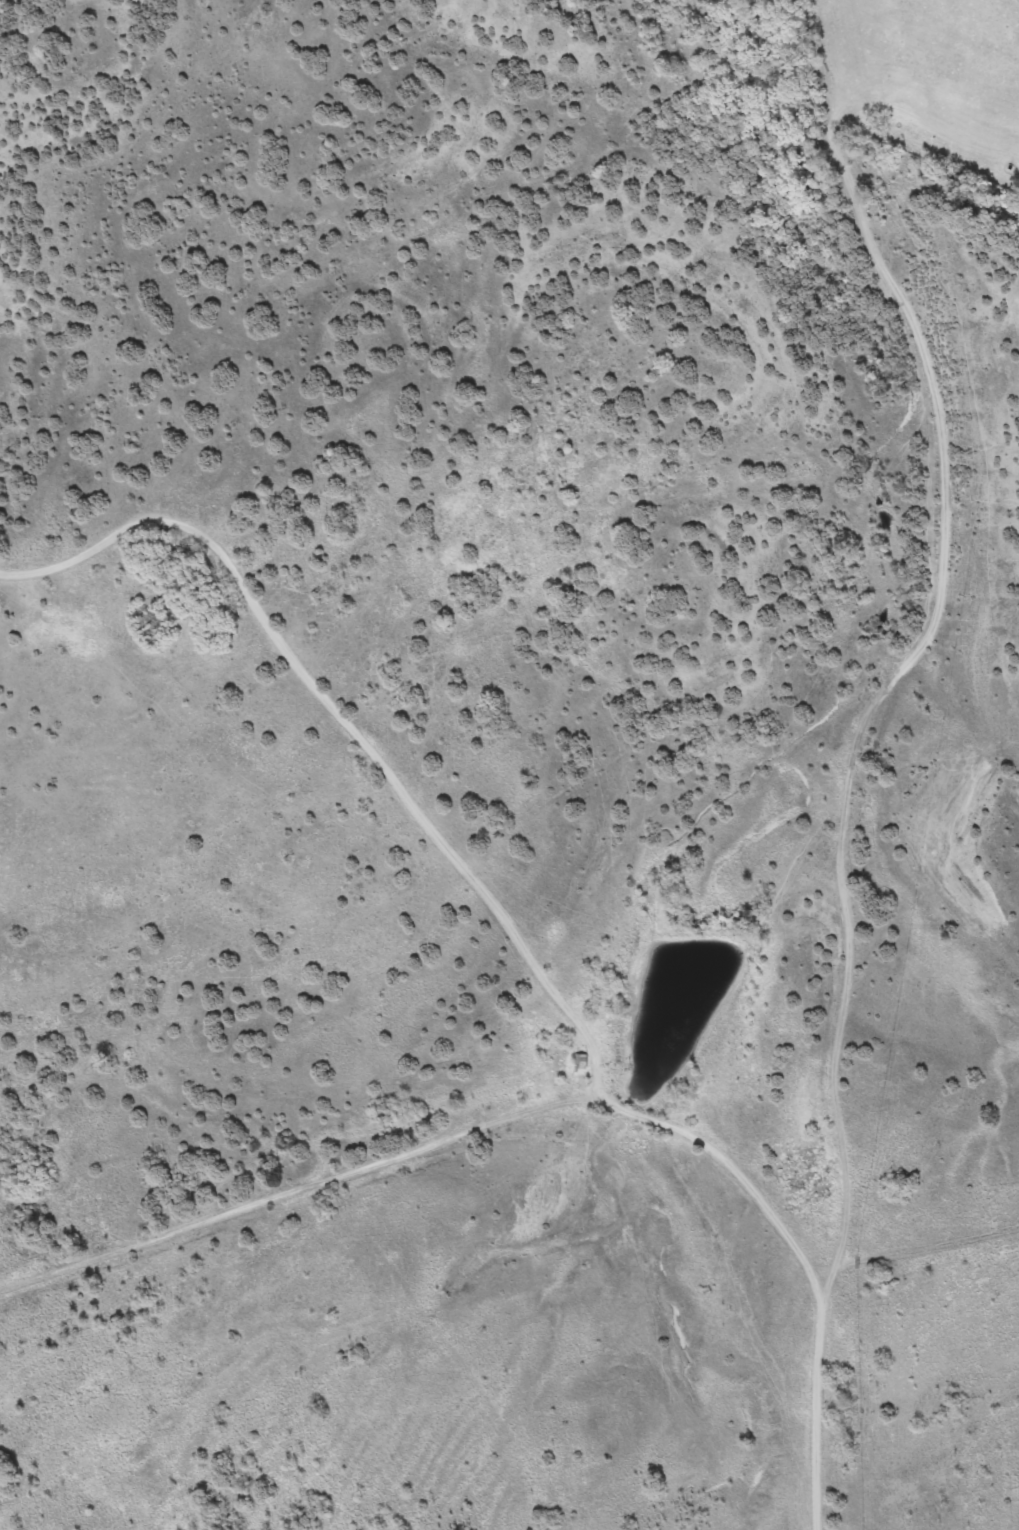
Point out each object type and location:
road: (344, 729)
road: (838, 851)
road: (553, 1096)

